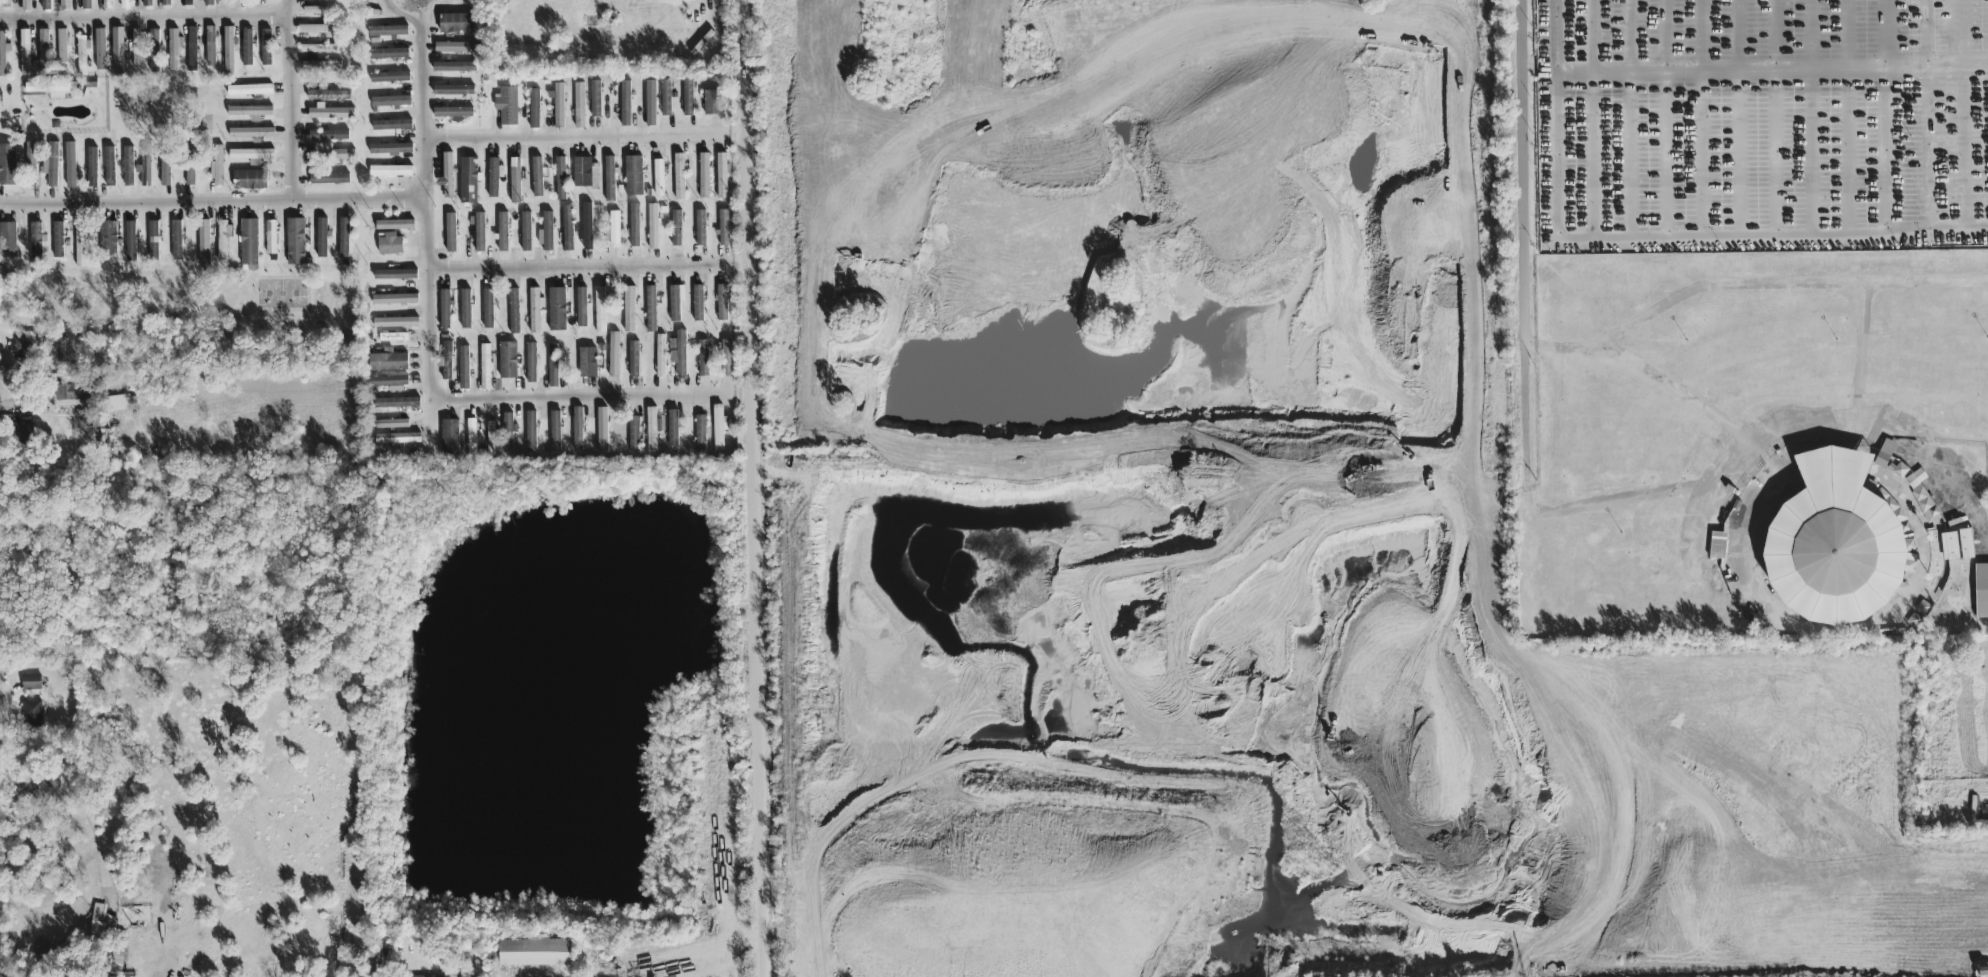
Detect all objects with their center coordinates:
building: (261, 0)
building: (147, 3)
building: (166, 3)
building: (189, 3)
building: (208, 3)
building: (107, 4)
building: (125, 4)
building: (24, 5)
building: (46, 5)
building: (64, 5)
building: (86, 5)
building: (314, 11)
road: (145, 18)
building: (456, 24)
building: (317, 30)
building: (388, 32)
building: (62, 46)
building: (211, 47)
building: (136, 48)
building: (266, 48)
building: (457, 48)
building: (247, 49)
building: (319, 49)
building: (43, 50)
building: (100, 50)
building: (155, 50)
building: (174, 50)
building: (192, 50)
building: (229, 50)
building: (118, 52)
building: (25, 53)
building: (2, 55)
building: (82, 55)
building: (389, 55)
building: (321, 66)
building: (455, 68)
road: (1740, 71)
building: (390, 78)
building: (51, 89)
building: (250, 91)
building: (454, 91)
building: (325, 96)
building: (666, 98)
building: (688, 99)
road: (291, 100)
building: (596, 100)
building: (391, 102)
building: (713, 103)
building: (625, 104)
building: (651, 104)
building: (559, 106)
building: (579, 106)
building: (509, 107)
building: (534, 109)
building: (250, 113)
building: (330, 114)
building: (454, 114)
building: (392, 126)
building: (251, 133)
road: (1928, 135)
building: (328, 136)
road: (586, 138)
building: (391, 149)
building: (190, 150)
building: (330, 154)
building: (252, 156)
building: (31, 164)
building: (7, 165)
building: (51, 165)
building: (70, 165)
building: (146, 165)
building: (129, 167)
building: (166, 167)
building: (92, 168)
building: (110, 168)
building: (217, 168)
building: (391, 172)
building: (585, 173)
building: (722, 176)
building: (190, 177)
building: (447, 177)
building: (537, 177)
building: (634, 177)
building: (679, 177)
building: (704, 177)
building: (329, 179)
building: (493, 179)
building: (560, 179)
building: (659, 179)
building: (250, 180)
building: (609, 180)
building: (469, 181)
building: (515, 181)
road: (212, 202)
road: (425, 224)
building: (395, 226)
building: (635, 226)
building: (587, 227)
building: (653, 227)
building: (568, 229)
building: (676, 229)
building: (701, 229)
building: (724, 229)
building: (613, 230)
building: (479, 232)
building: (503, 232)
building: (526, 232)
building: (547, 233)
building: (451, 234)
building: (109, 238)
building: (271, 238)
building: (323, 238)
building: (344, 238)
road: (1629, 239)
building: (8, 240)
building: (223, 240)
building: (58, 241)
building: (154, 241)
building: (177, 241)
building: (131, 242)
building: (295, 242)
building: (204, 243)
building: (249, 243)
building: (35, 245)
building: (80, 245)
building: (390, 245)
road: (1524, 251)
road: (589, 267)
building: (395, 275)
road: (1748, 285)
building: (394, 299)
building: (674, 304)
building: (698, 304)
building: (722, 304)
building: (582, 308)
building: (651, 309)
building: (445, 310)
building: (466, 310)
building: (488, 310)
building: (535, 310)
building: (557, 310)
building: (629, 310)
building: (601, 311)
building: (514, 312)
building: (396, 324)
building: (393, 338)
building: (681, 354)
building: (614, 356)
building: (660, 357)
building: (703, 359)
building: (726, 359)
building: (634, 360)
building: (508, 361)
building: (388, 362)
building: (446, 362)
building: (588, 363)
building: (531, 364)
building: (553, 366)
building: (485, 367)
building: (464, 368)
building: (388, 382)
building: (72, 393)
road: (591, 397)
building: (398, 403)
building: (118, 404)
building: (392, 425)
building: (673, 429)
building: (718, 429)
building: (22, 430)
building: (578, 430)
building: (652, 430)
building: (602, 431)
building: (531, 432)
building: (556, 432)
building: (508, 434)
building: (701, 434)
building: (634, 435)
building: (450, 438)
building: (397, 439)
building: (472, 439)
building: (491, 439)
building: (1884, 454)
road: (756, 488)
building: (1918, 491)
building: (1966, 544)
building: (1717, 546)
building: (1949, 547)
building: (1835, 555)
building: (1980, 595)
building: (31, 683)
building: (31, 711)
building: (101, 924)
building: (535, 953)
building: (413, 976)

